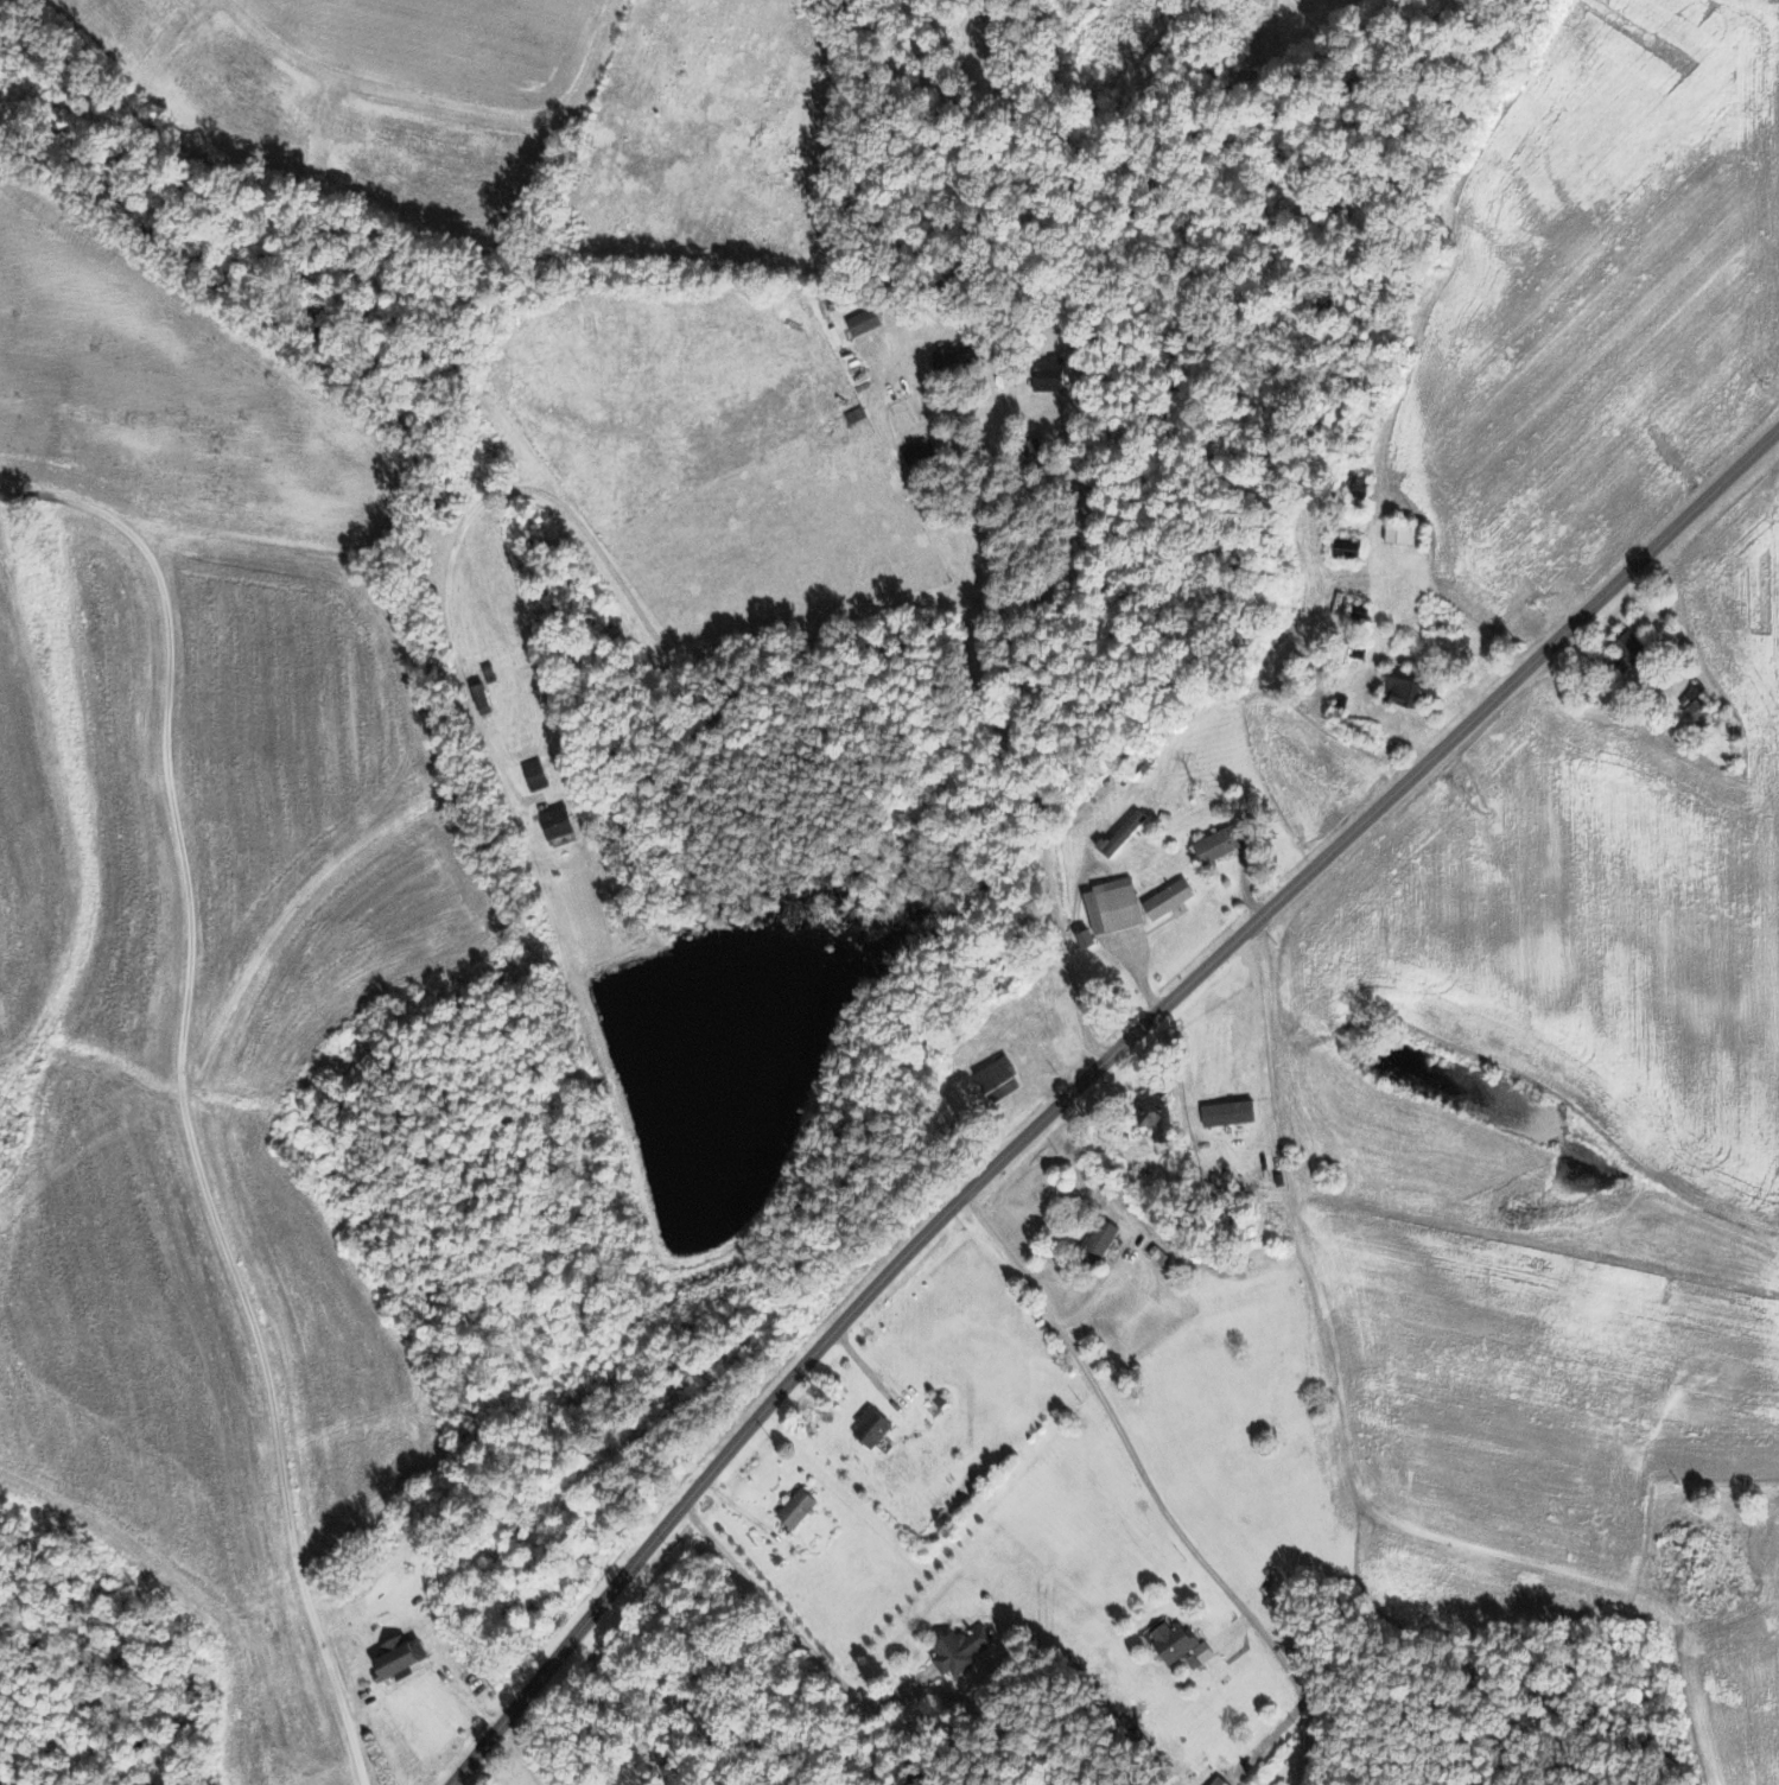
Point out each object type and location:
building: (865, 320)
building: (955, 357)
building: (1049, 374)
building: (919, 456)
building: (1404, 532)
road: (628, 593)
building: (1629, 648)
building: (1412, 686)
building: (483, 698)
building: (1695, 705)
road: (1027, 756)
building: (535, 774)
building: (558, 821)
building: (1123, 834)
building: (1222, 843)
building: (1170, 898)
building: (1114, 906)
road: (1055, 917)
building: (1088, 938)
building: (1003, 1076)
road: (1085, 1078)
road: (180, 1095)
building: (1156, 1114)
building: (1101, 1243)
road: (1326, 1361)
building: (873, 1428)
road: (1151, 1488)
building: (799, 1507)
road: (795, 1634)
building: (1178, 1643)
building: (964, 1650)
building: (401, 1657)

